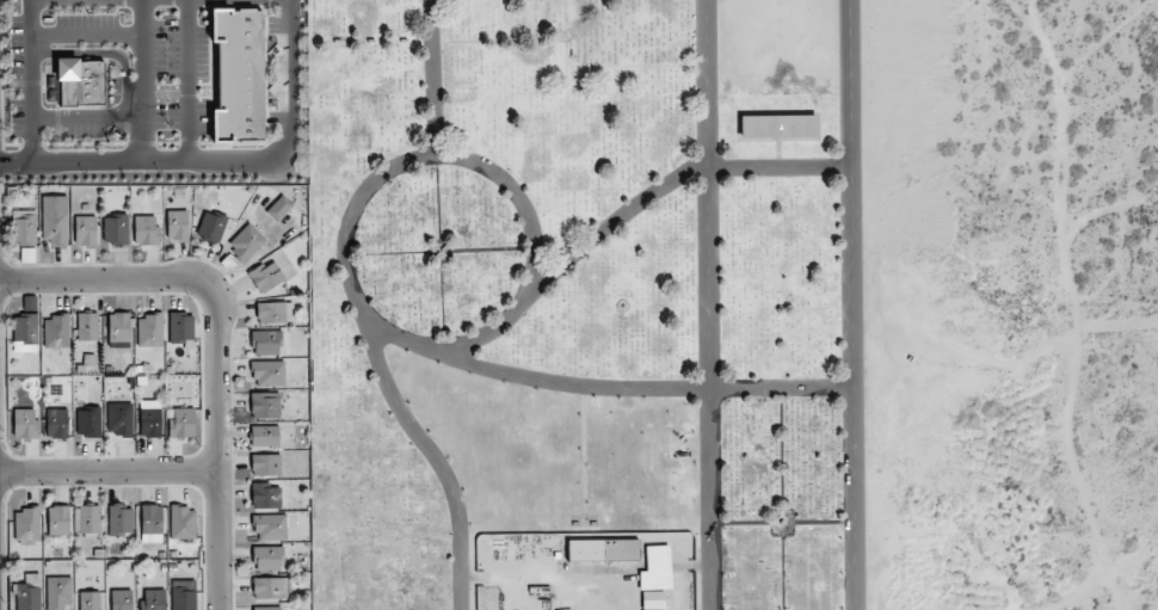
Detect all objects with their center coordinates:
building: (238, 76)
building: (79, 82)
building: (757, 127)
building: (799, 127)
building: (279, 208)
building: (177, 224)
building: (211, 226)
building: (54, 227)
building: (115, 229)
building: (85, 230)
building: (146, 230)
building: (24, 236)
building: (245, 242)
building: (265, 275)
road: (100, 279)
road: (706, 304)
park: (595, 306)
building: (275, 312)
building: (87, 326)
building: (24, 328)
building: (180, 328)
building: (118, 329)
building: (149, 331)
building: (56, 332)
building: (265, 343)
building: (267, 372)
building: (264, 405)
building: (149, 418)
building: (118, 419)
building: (87, 421)
building: (56, 423)
building: (181, 423)
building: (25, 424)
building: (264, 436)
road: (212, 445)
building: (265, 464)
road: (106, 474)
building: (265, 495)
building: (57, 519)
building: (86, 519)
building: (119, 519)
building: (150, 523)
building: (181, 523)
building: (26, 525)
building: (270, 526)
building: (602, 550)
building: (267, 559)
building: (655, 568)
building: (271, 587)
building: (27, 592)
building: (58, 592)
building: (183, 594)
building: (121, 599)
building: (153, 599)
building: (88, 600)
building: (652, 600)
building: (266, 608)

